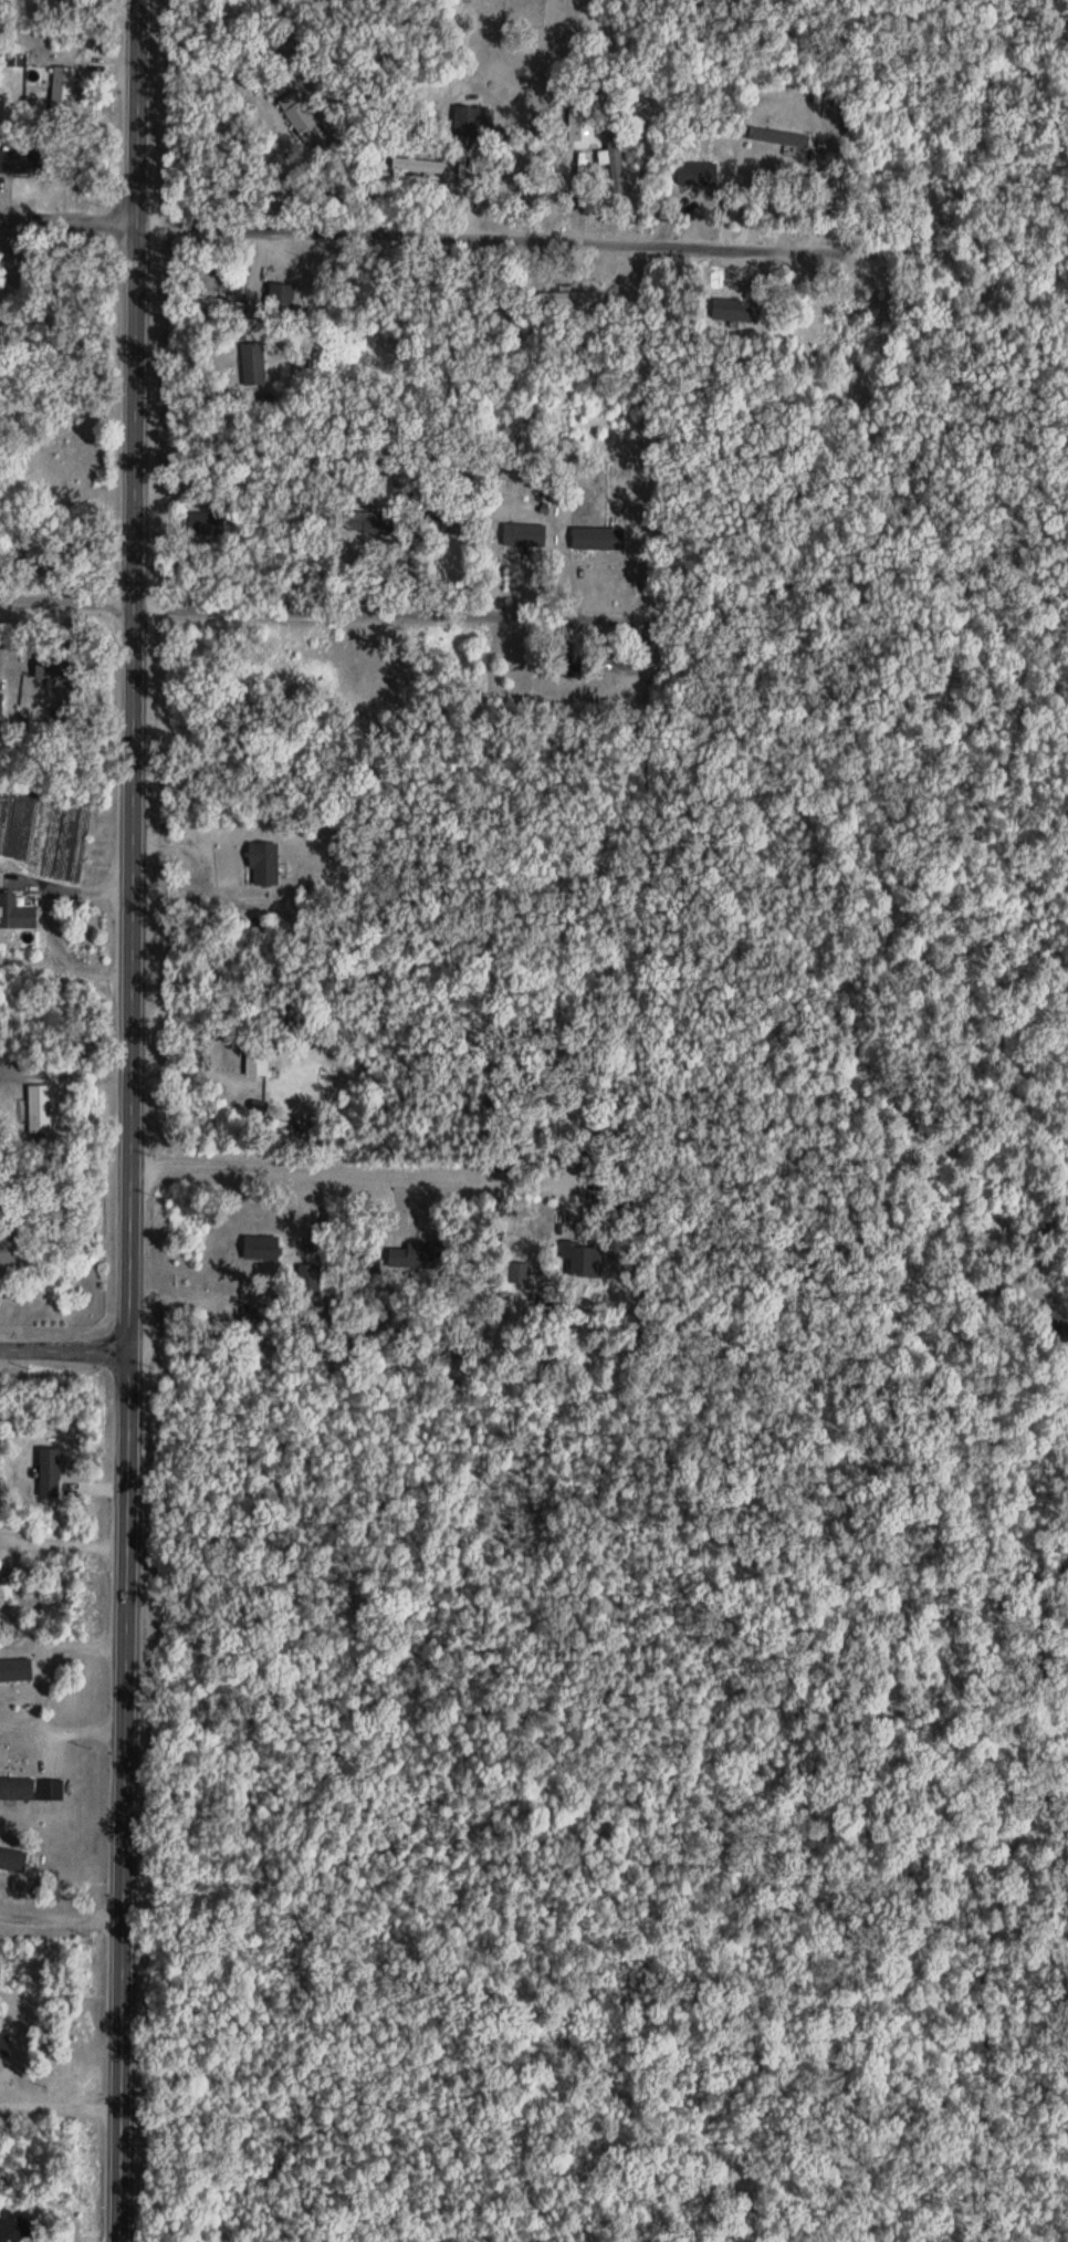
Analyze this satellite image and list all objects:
road: (605, 38)
building: (64, 91)
building: (303, 118)
building: (781, 138)
building: (21, 163)
building: (615, 163)
building: (417, 166)
building: (698, 175)
road: (69, 220)
road: (507, 238)
building: (283, 299)
building: (219, 305)
building: (737, 312)
building: (254, 365)
road: (369, 402)
building: (370, 525)
building: (525, 539)
building: (598, 541)
road: (314, 619)
building: (1, 705)
building: (265, 866)
road: (67, 894)
building: (17, 916)
building: (258, 1062)
road: (193, 1075)
building: (41, 1112)
road: (134, 1120)
road: (346, 1178)
building: (7, 1254)
building: (418, 1256)
building: (583, 1261)
road: (599, 1344)
road: (65, 1351)
building: (51, 1474)
road: (64, 1536)
building: (7, 1587)
building: (15, 1673)
road: (40, 1692)
building: (31, 1792)
building: (13, 1864)
road: (63, 1918)
building: (4, 2047)
road: (63, 2110)
building: (12, 2230)

